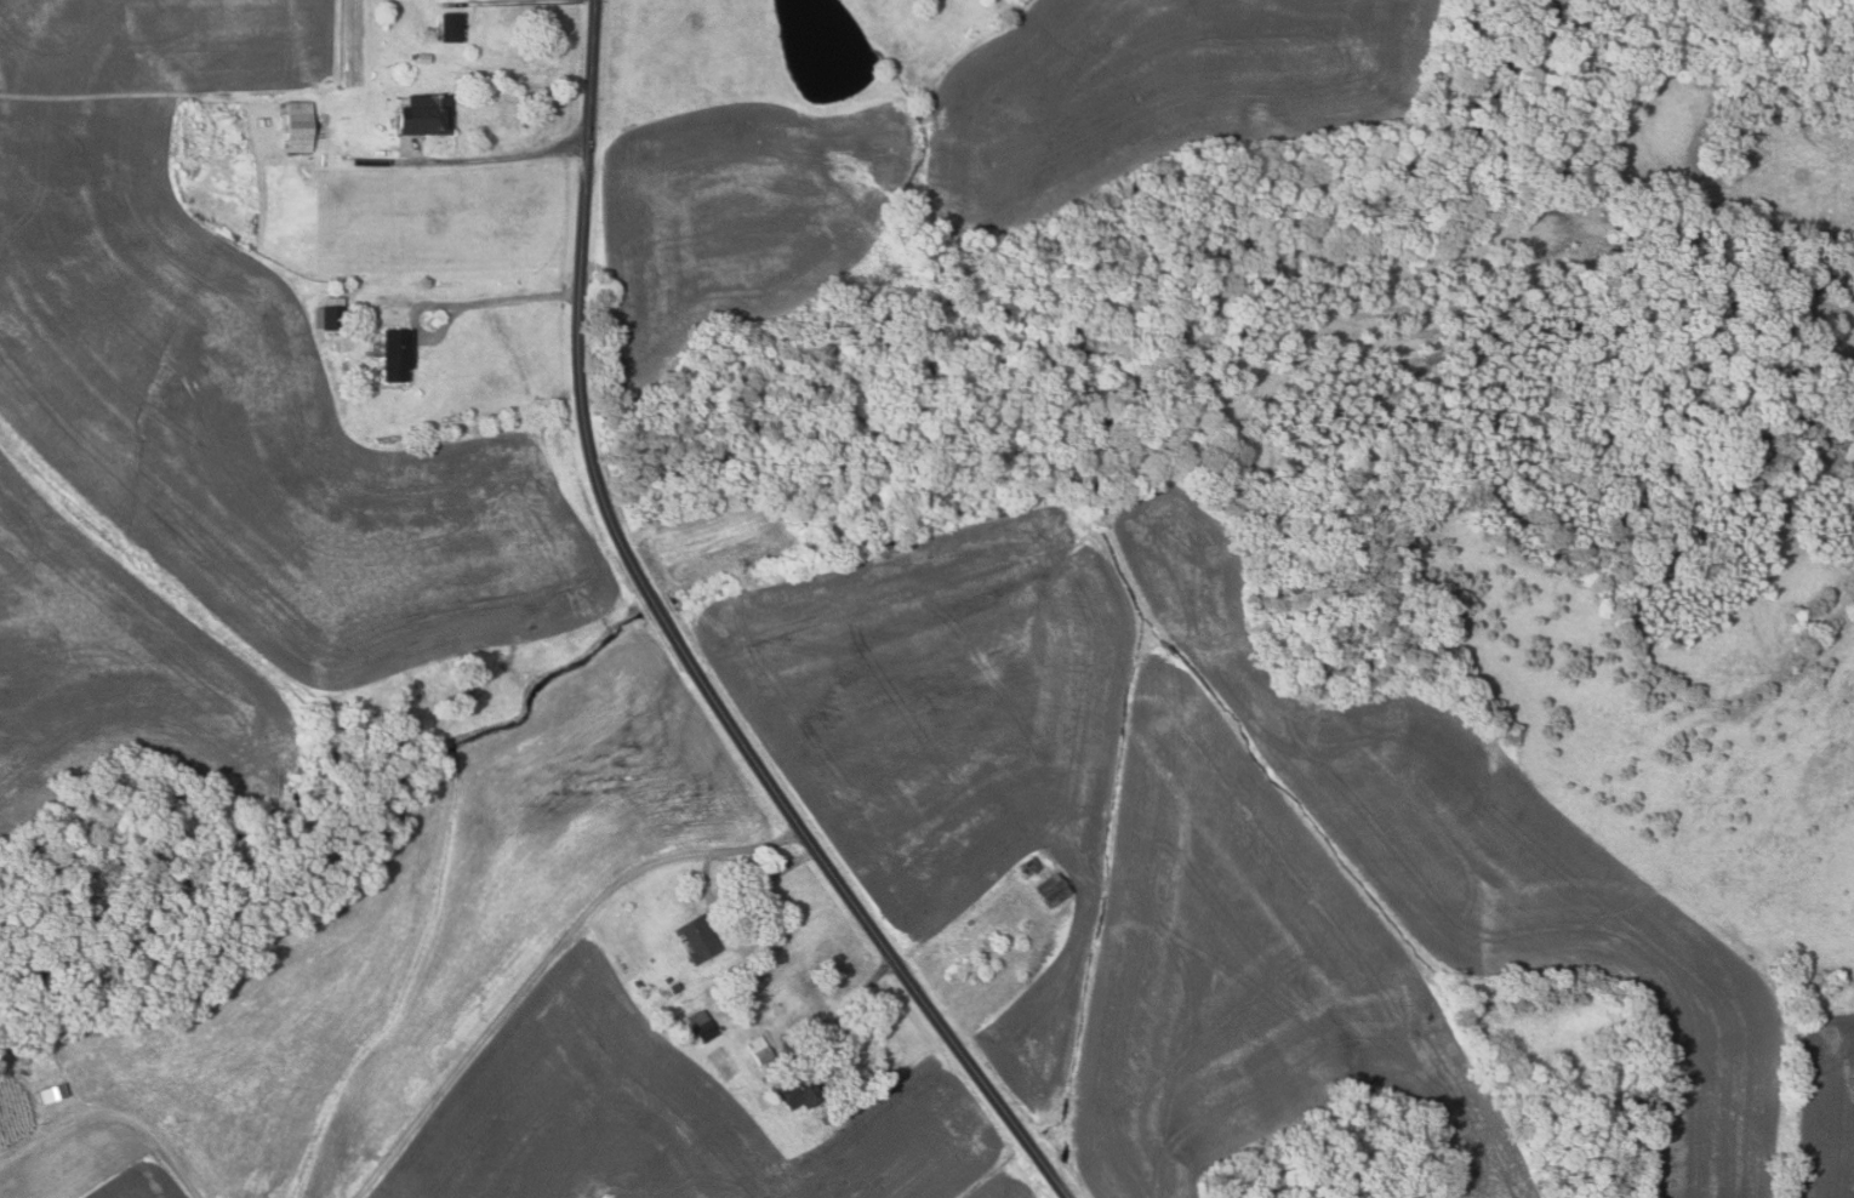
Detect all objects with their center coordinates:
road: (509, 1)
building: (453, 28)
building: (424, 59)
crop: (1154, 96)
building: (428, 115)
building: (301, 127)
road: (498, 158)
crop: (737, 216)
road: (503, 299)
building: (332, 315)
building: (398, 355)
crop: (212, 433)
crop: (715, 540)
road: (680, 649)
crop: (1238, 860)
building: (1031, 867)
building: (941, 875)
road: (761, 883)
building: (1054, 889)
building: (970, 923)
building: (700, 939)
road: (546, 963)
building: (669, 979)
building: (677, 987)
road: (850, 1008)
building: (704, 1026)
building: (84, 1029)
building: (765, 1055)
building: (825, 1057)
building: (23, 1060)
building: (38, 1063)
building: (805, 1091)
building: (56, 1093)
road: (114, 1117)
building: (827, 1118)

